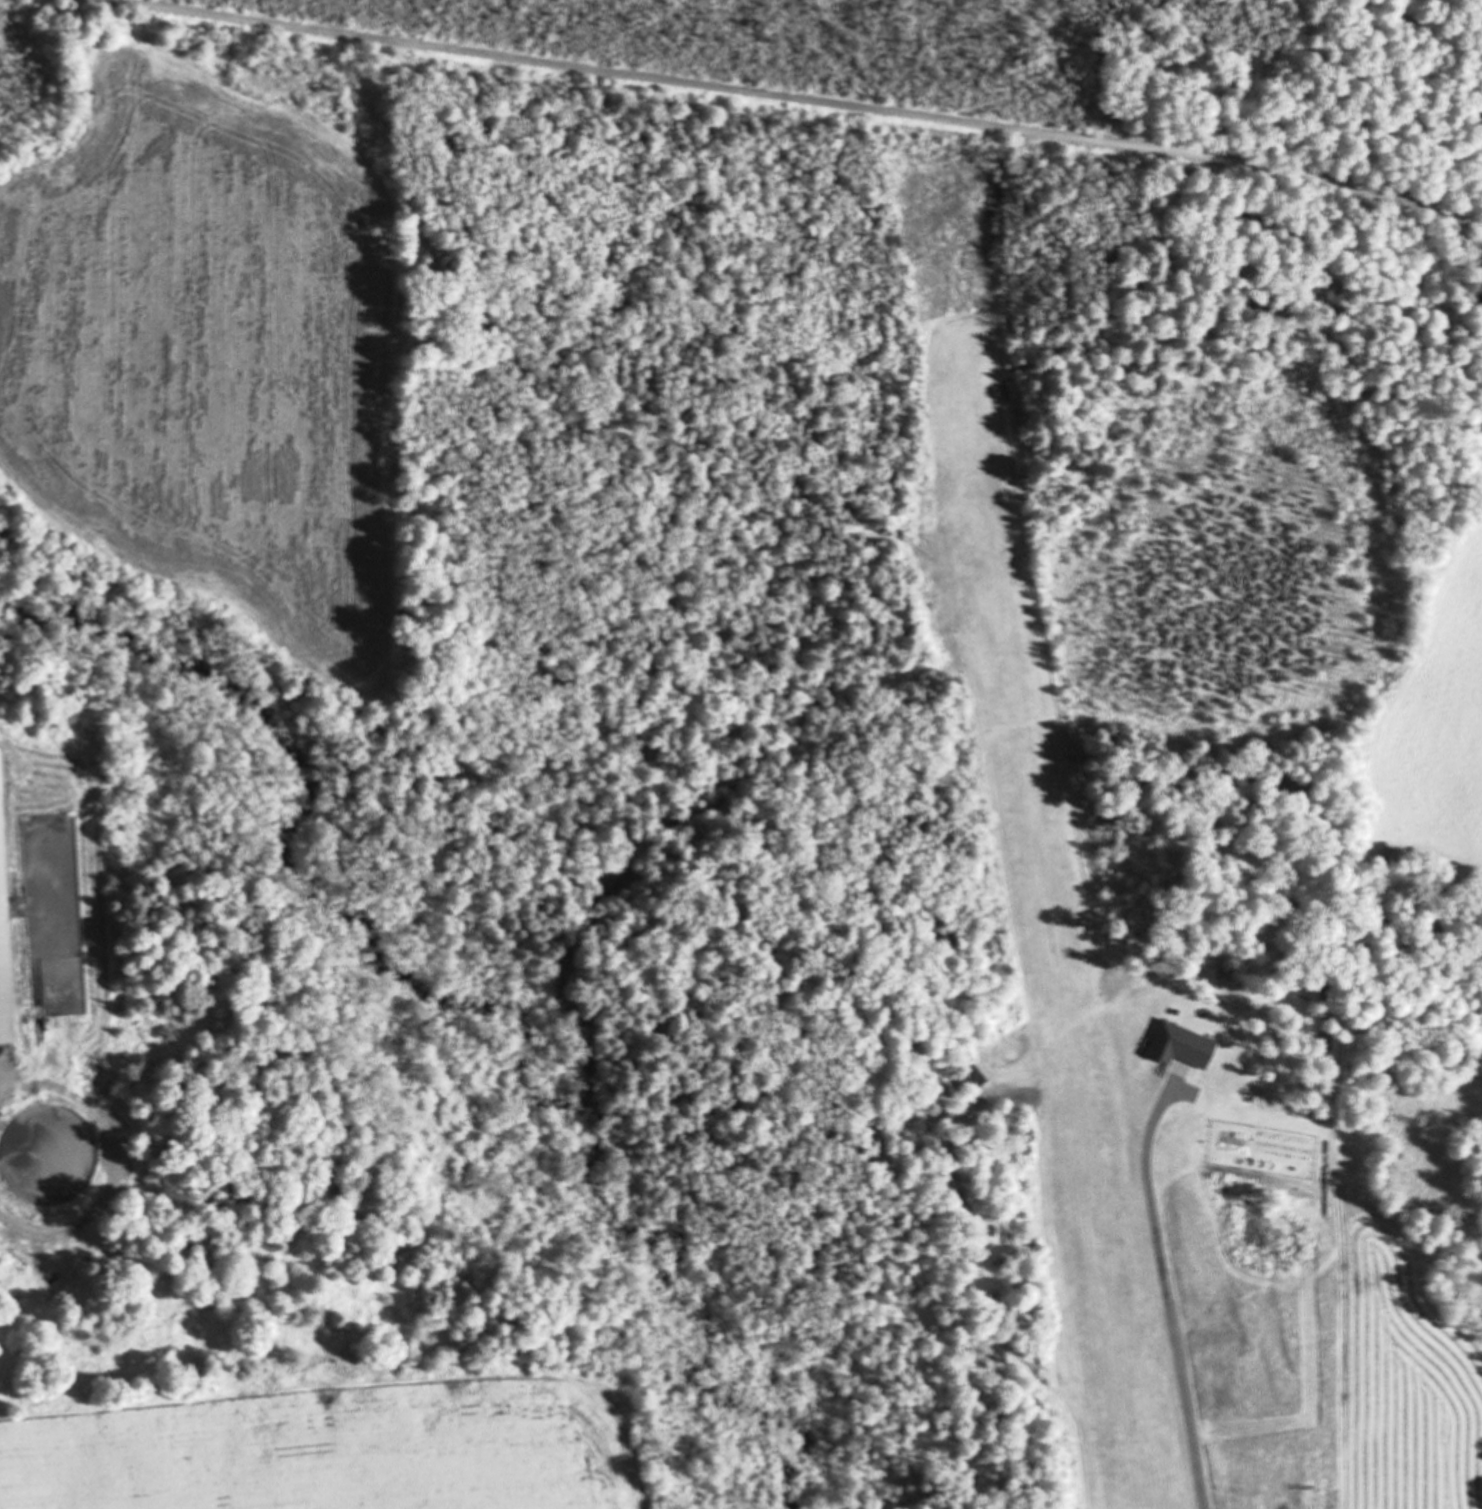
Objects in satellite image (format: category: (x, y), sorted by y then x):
road: (819, 100)
airport runway: (1045, 904)
building: (4, 946)
building: (48, 1156)

